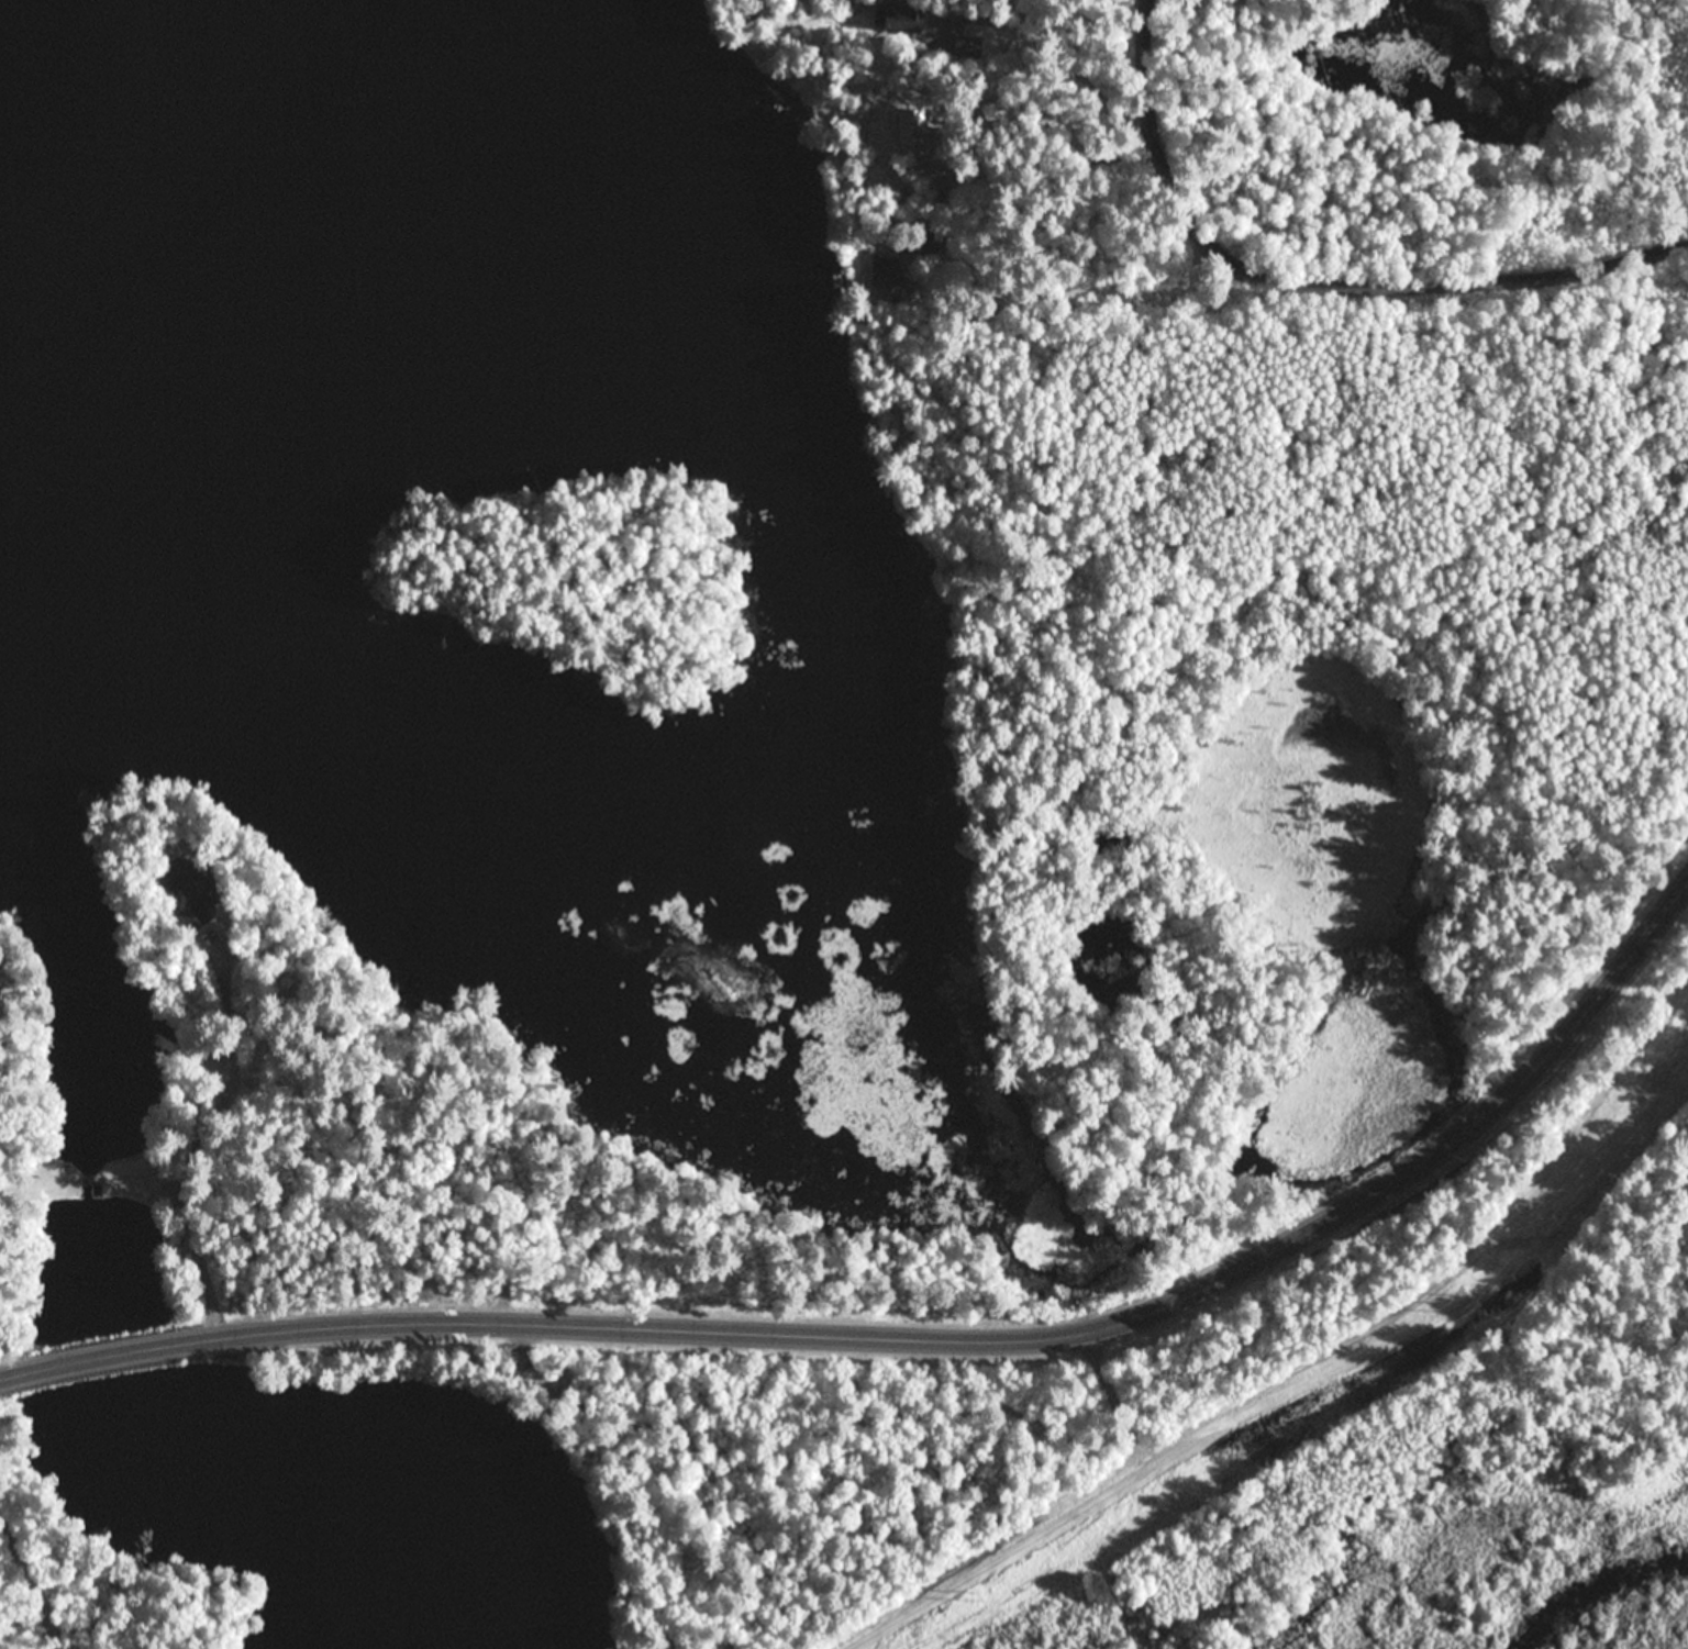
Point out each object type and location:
building: (904, 15)
building: (969, 44)
building: (977, 76)
building: (934, 87)
building: (999, 102)
building: (940, 119)
building: (923, 243)
building: (891, 278)
road: (1313, 279)
river: (33, 849)
building: (193, 893)
building: (1, 996)
building: (1, 1037)
dam: (93, 1182)
road: (1043, 1338)
road: (126, 1351)
road: (11, 1375)
road: (30, 1595)

